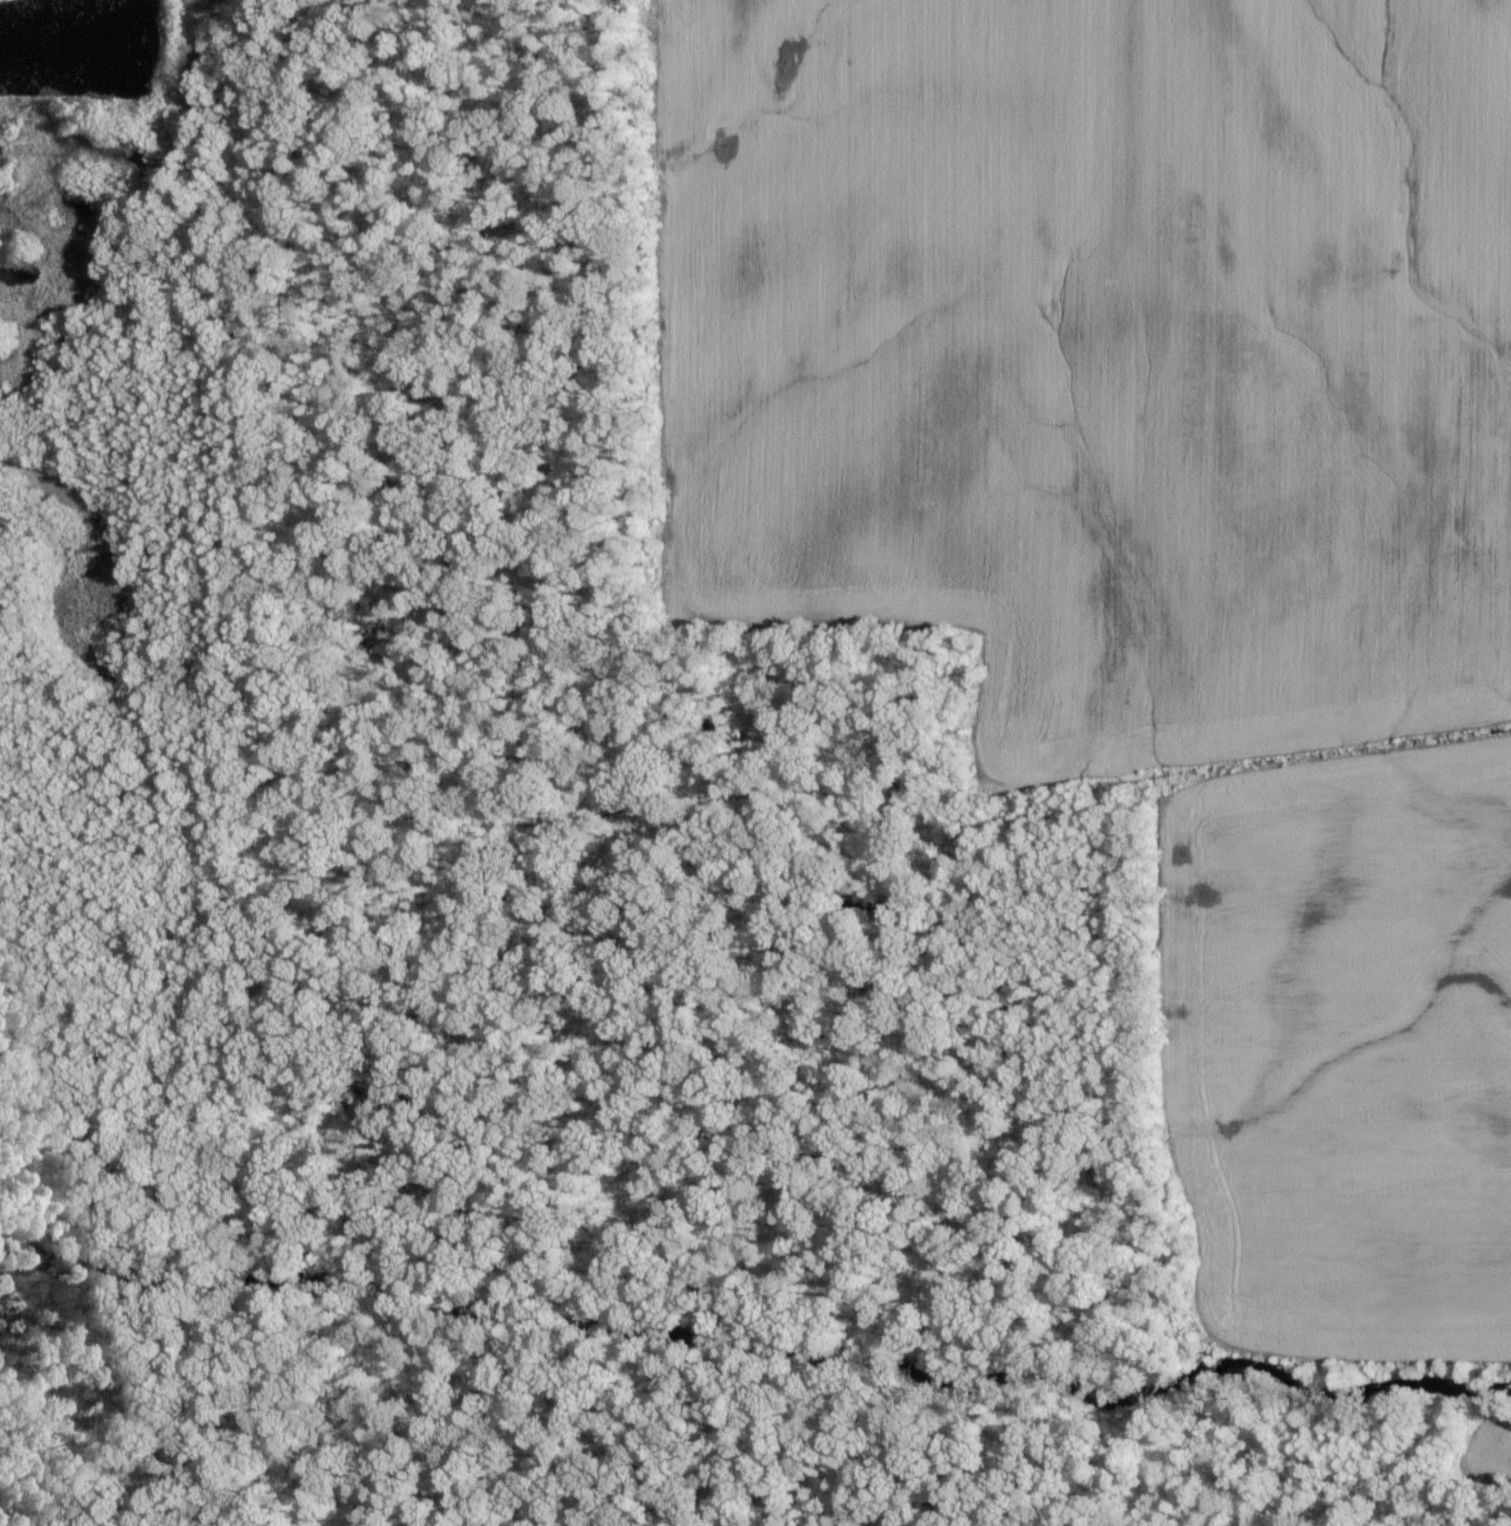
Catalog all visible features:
road: (1092, 149)

